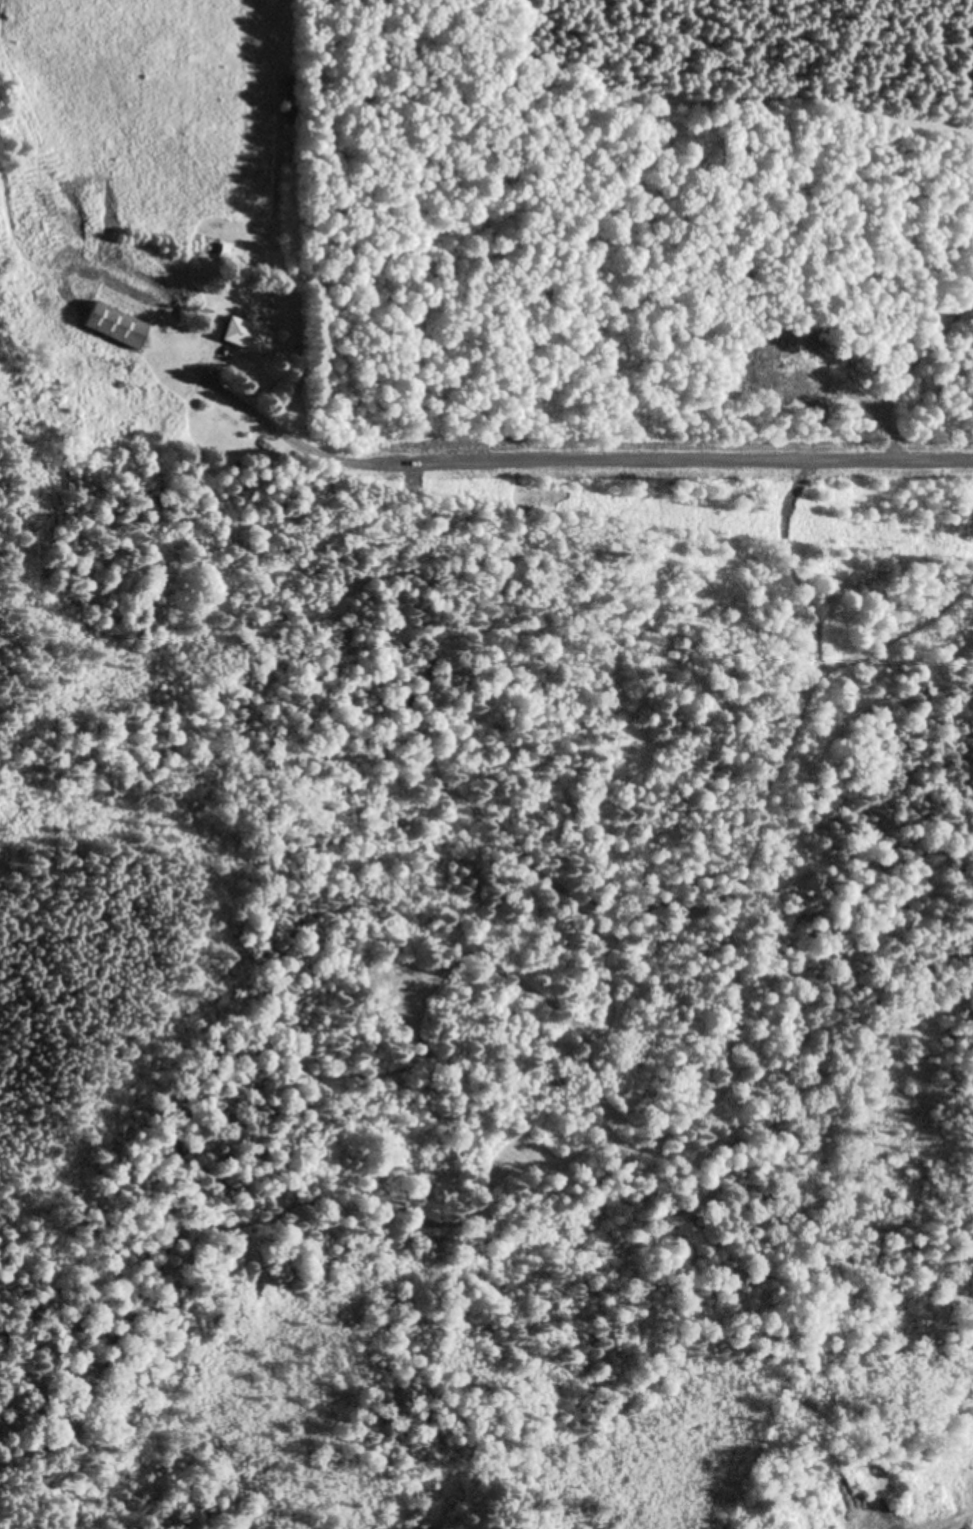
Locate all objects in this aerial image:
building: (287, 103)
building: (126, 301)
building: (245, 336)
road: (629, 466)
park: (491, 1462)

